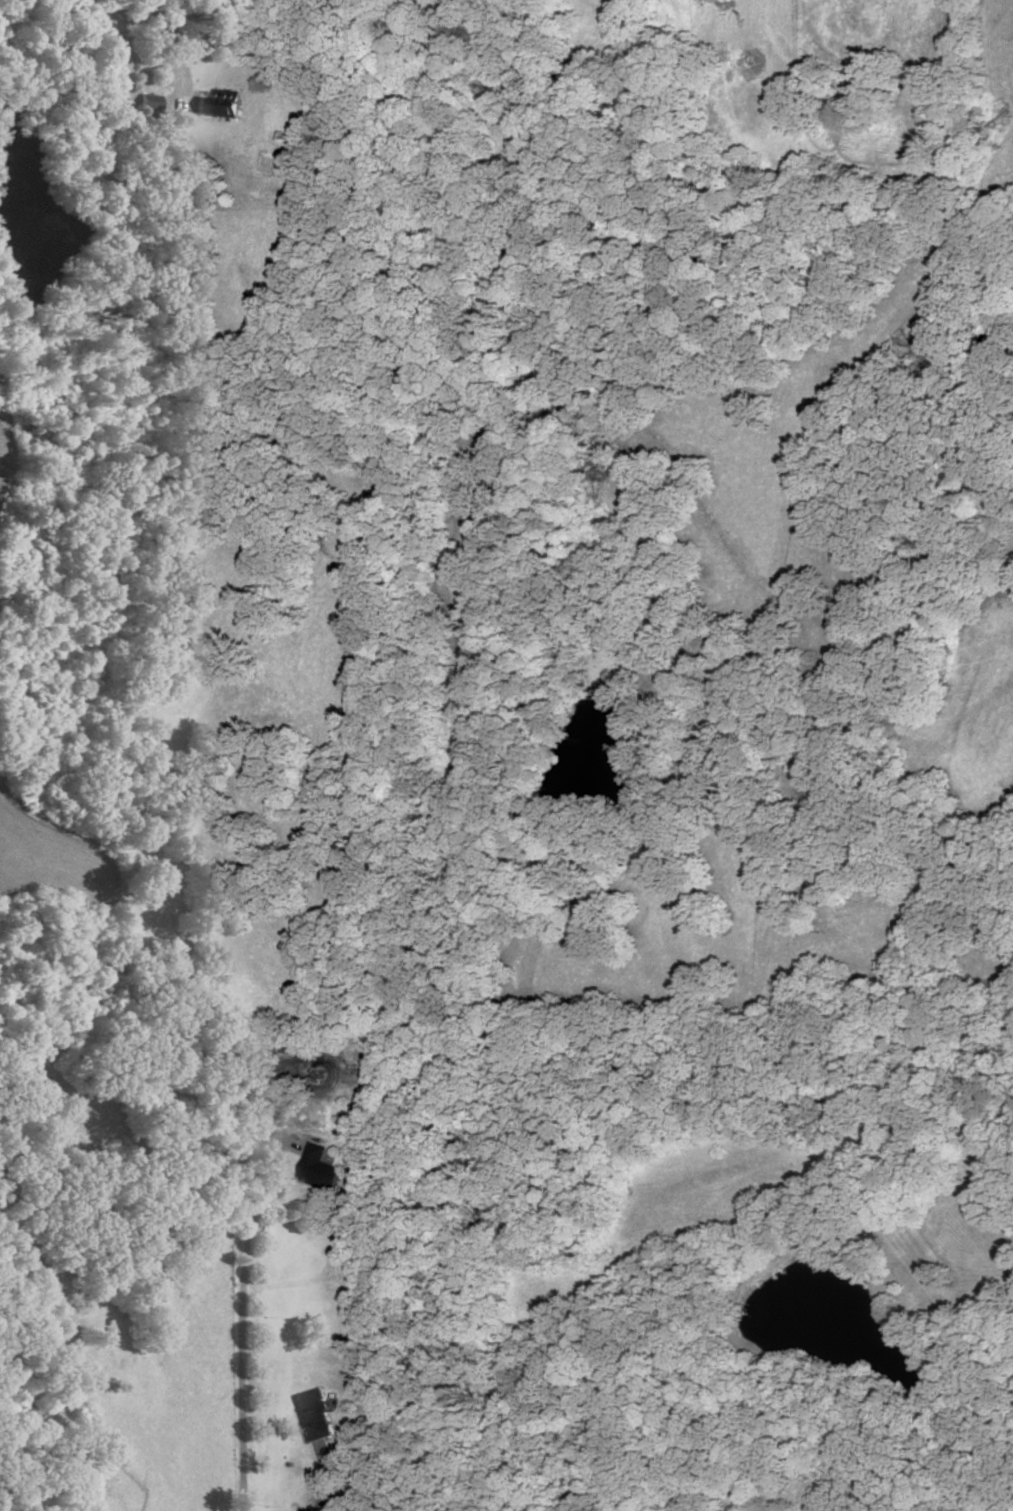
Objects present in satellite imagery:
road: (176, 44)
building: (147, 103)
building: (220, 105)
crop: (5, 464)
building: (317, 1168)
building: (355, 1276)
road: (242, 1322)
building: (312, 1414)
road: (324, 1477)

